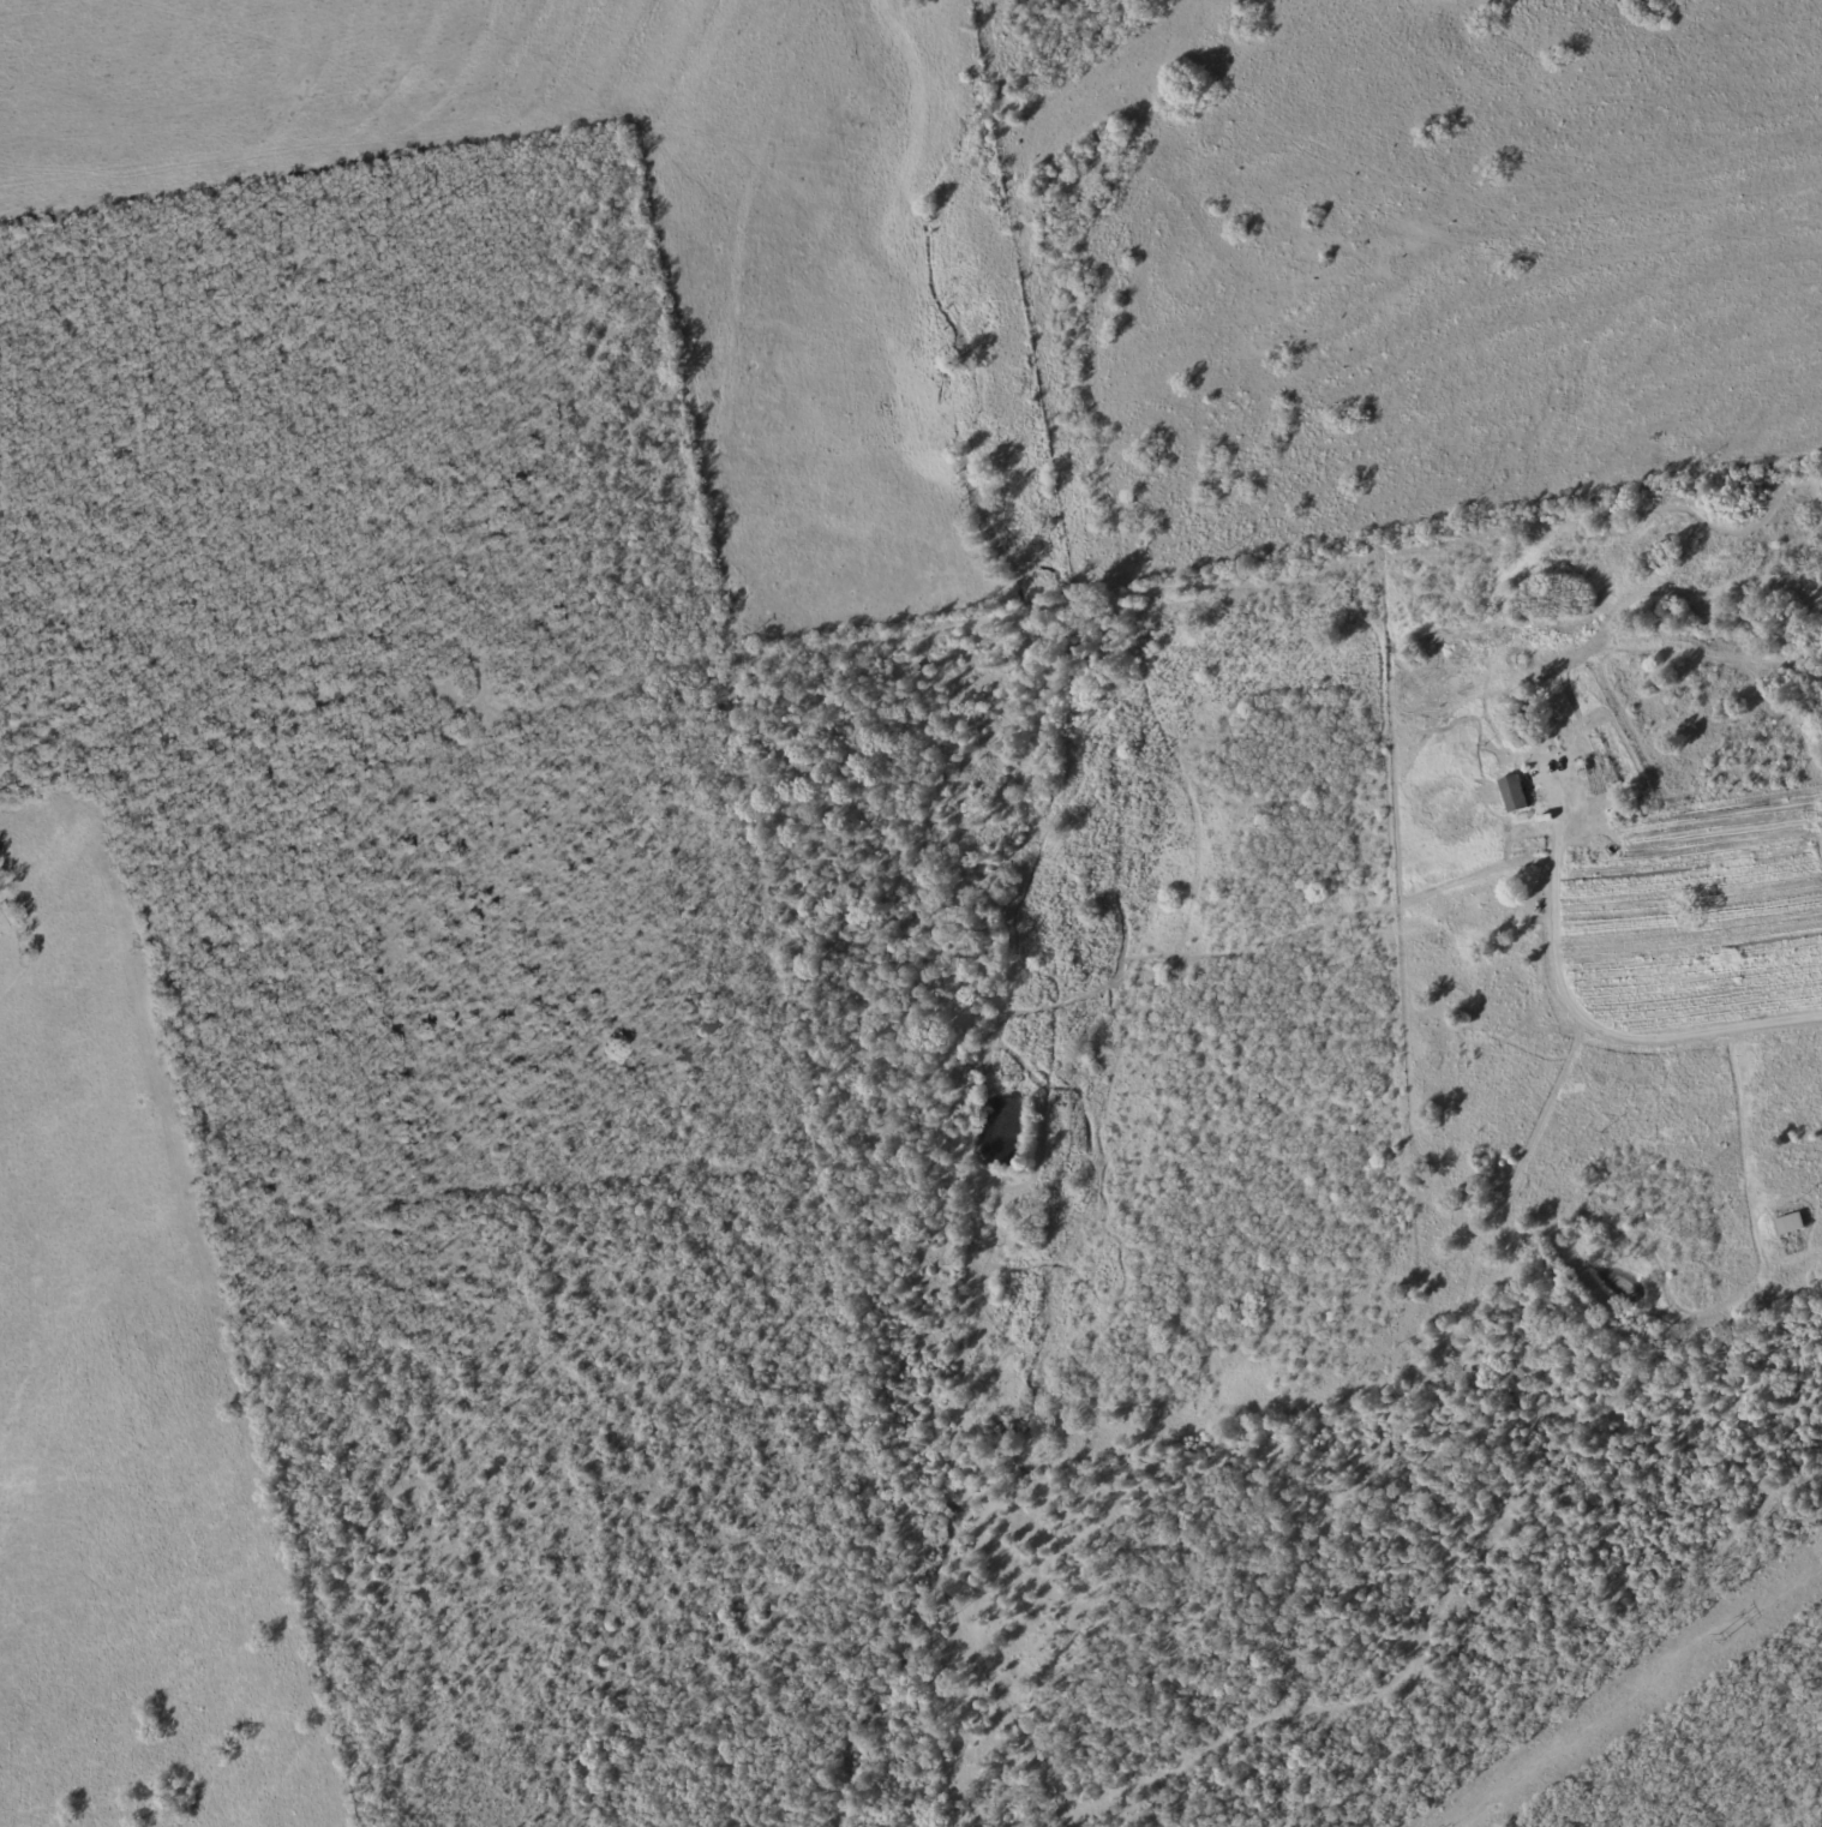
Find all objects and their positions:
building: (1512, 793)
road: (1592, 1025)
building: (1788, 1223)
power tower: (1720, 1637)

